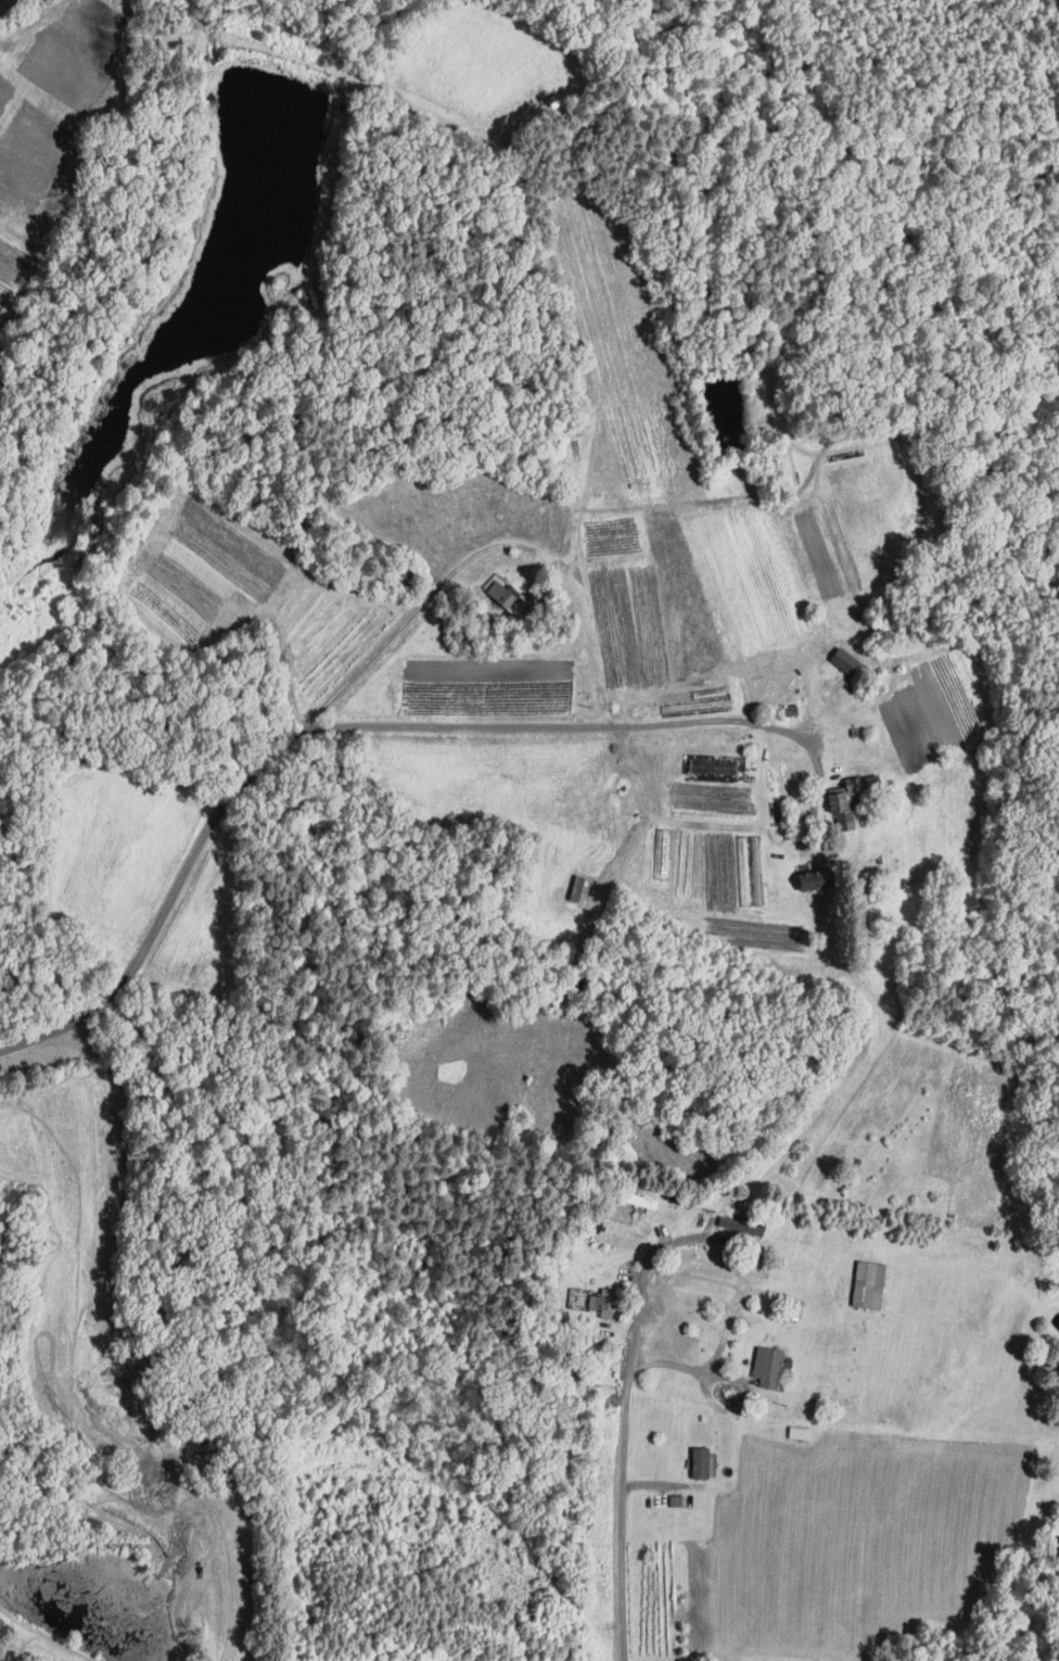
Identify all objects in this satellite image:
road: (1, 0)
building: (505, 594)
road: (408, 616)
building: (850, 660)
road: (383, 725)
building: (845, 810)
building: (824, 875)
building: (646, 1200)
building: (871, 1283)
building: (610, 1311)
building: (771, 1365)
road: (624, 1430)
building: (703, 1461)
building: (677, 1499)

